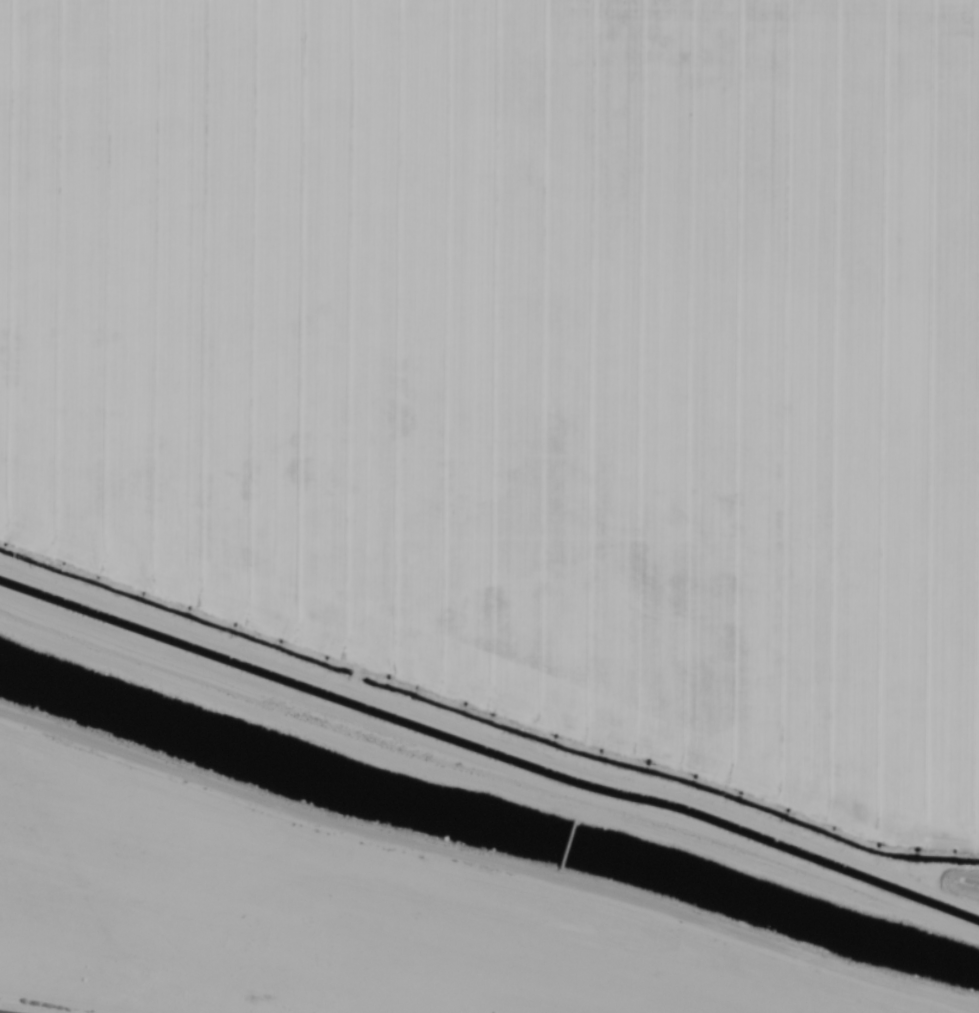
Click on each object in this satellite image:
road: (489, 769)

